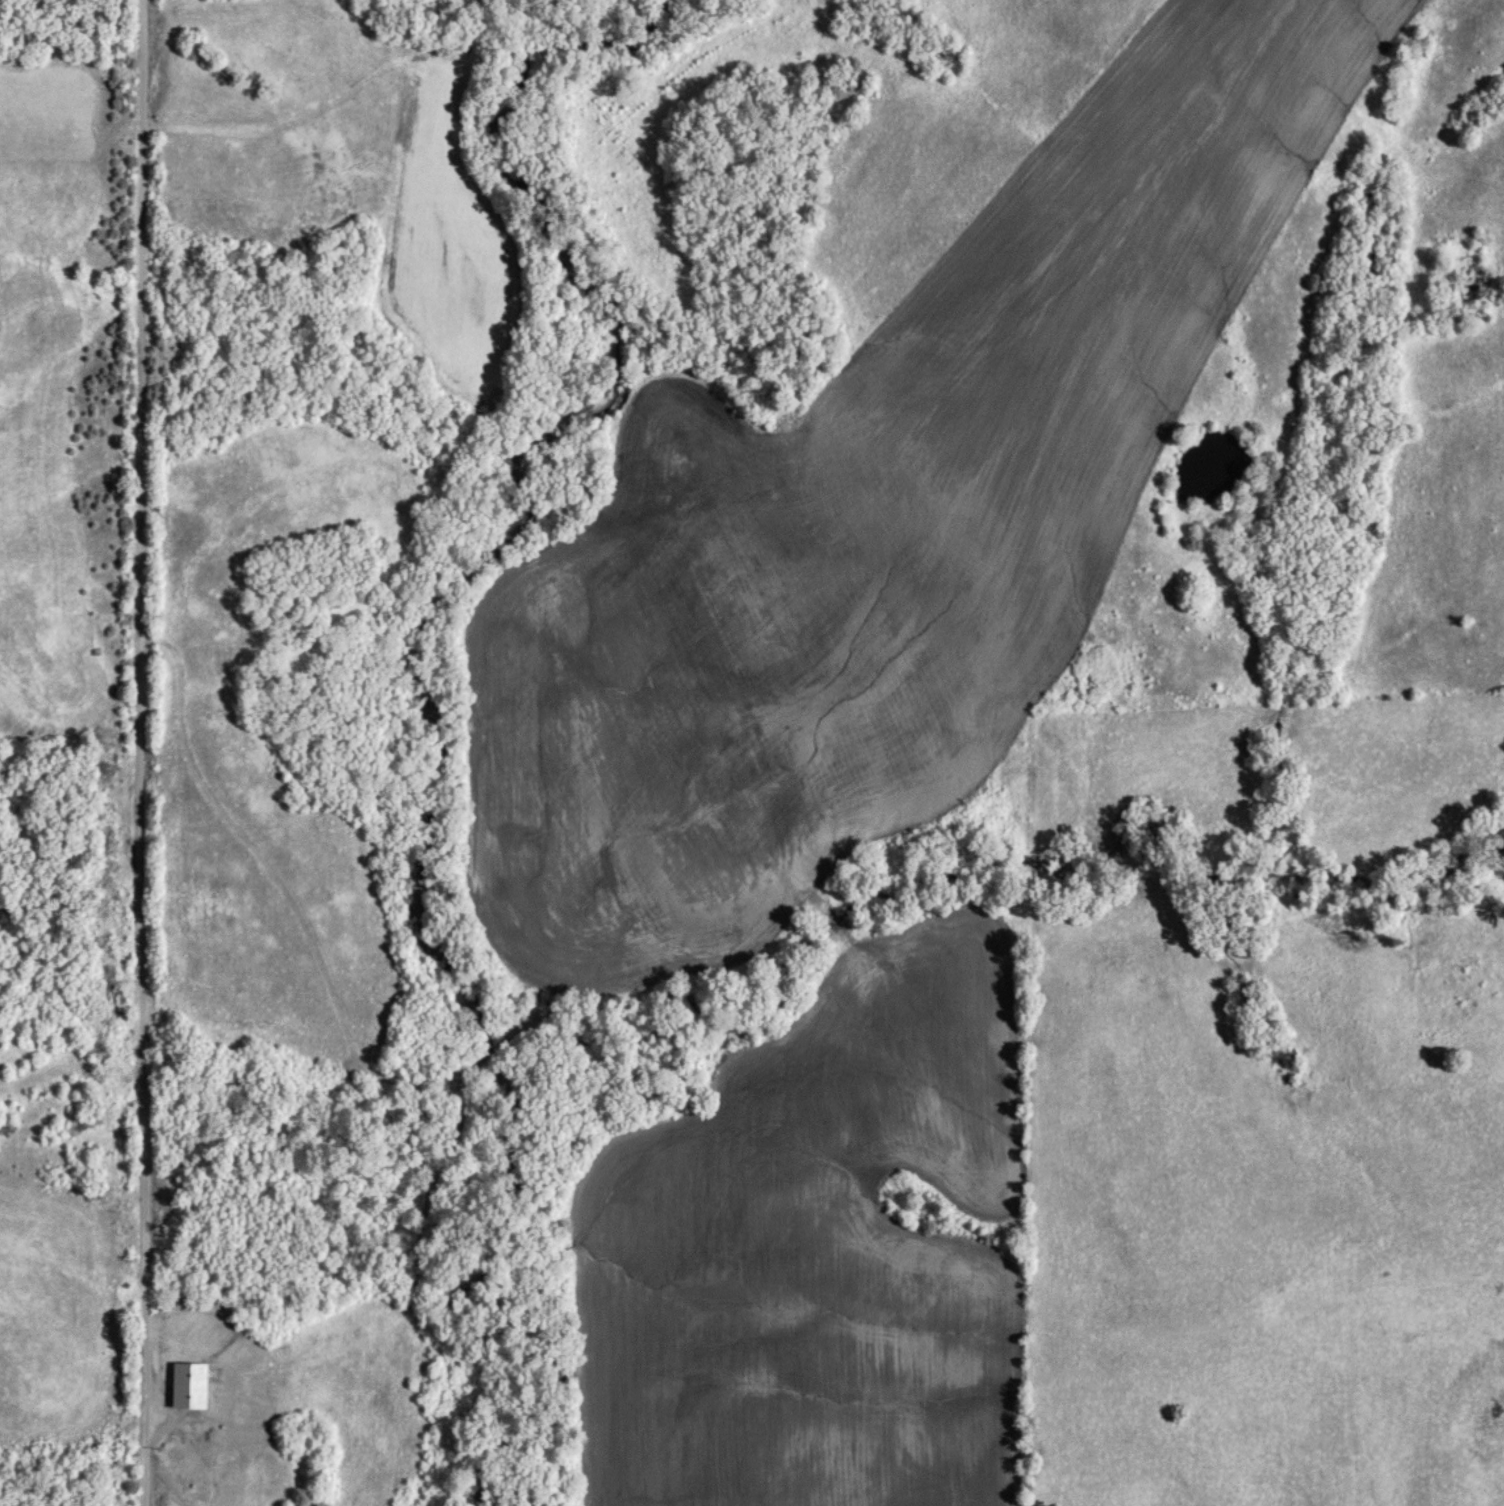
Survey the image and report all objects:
road: (138, 752)

